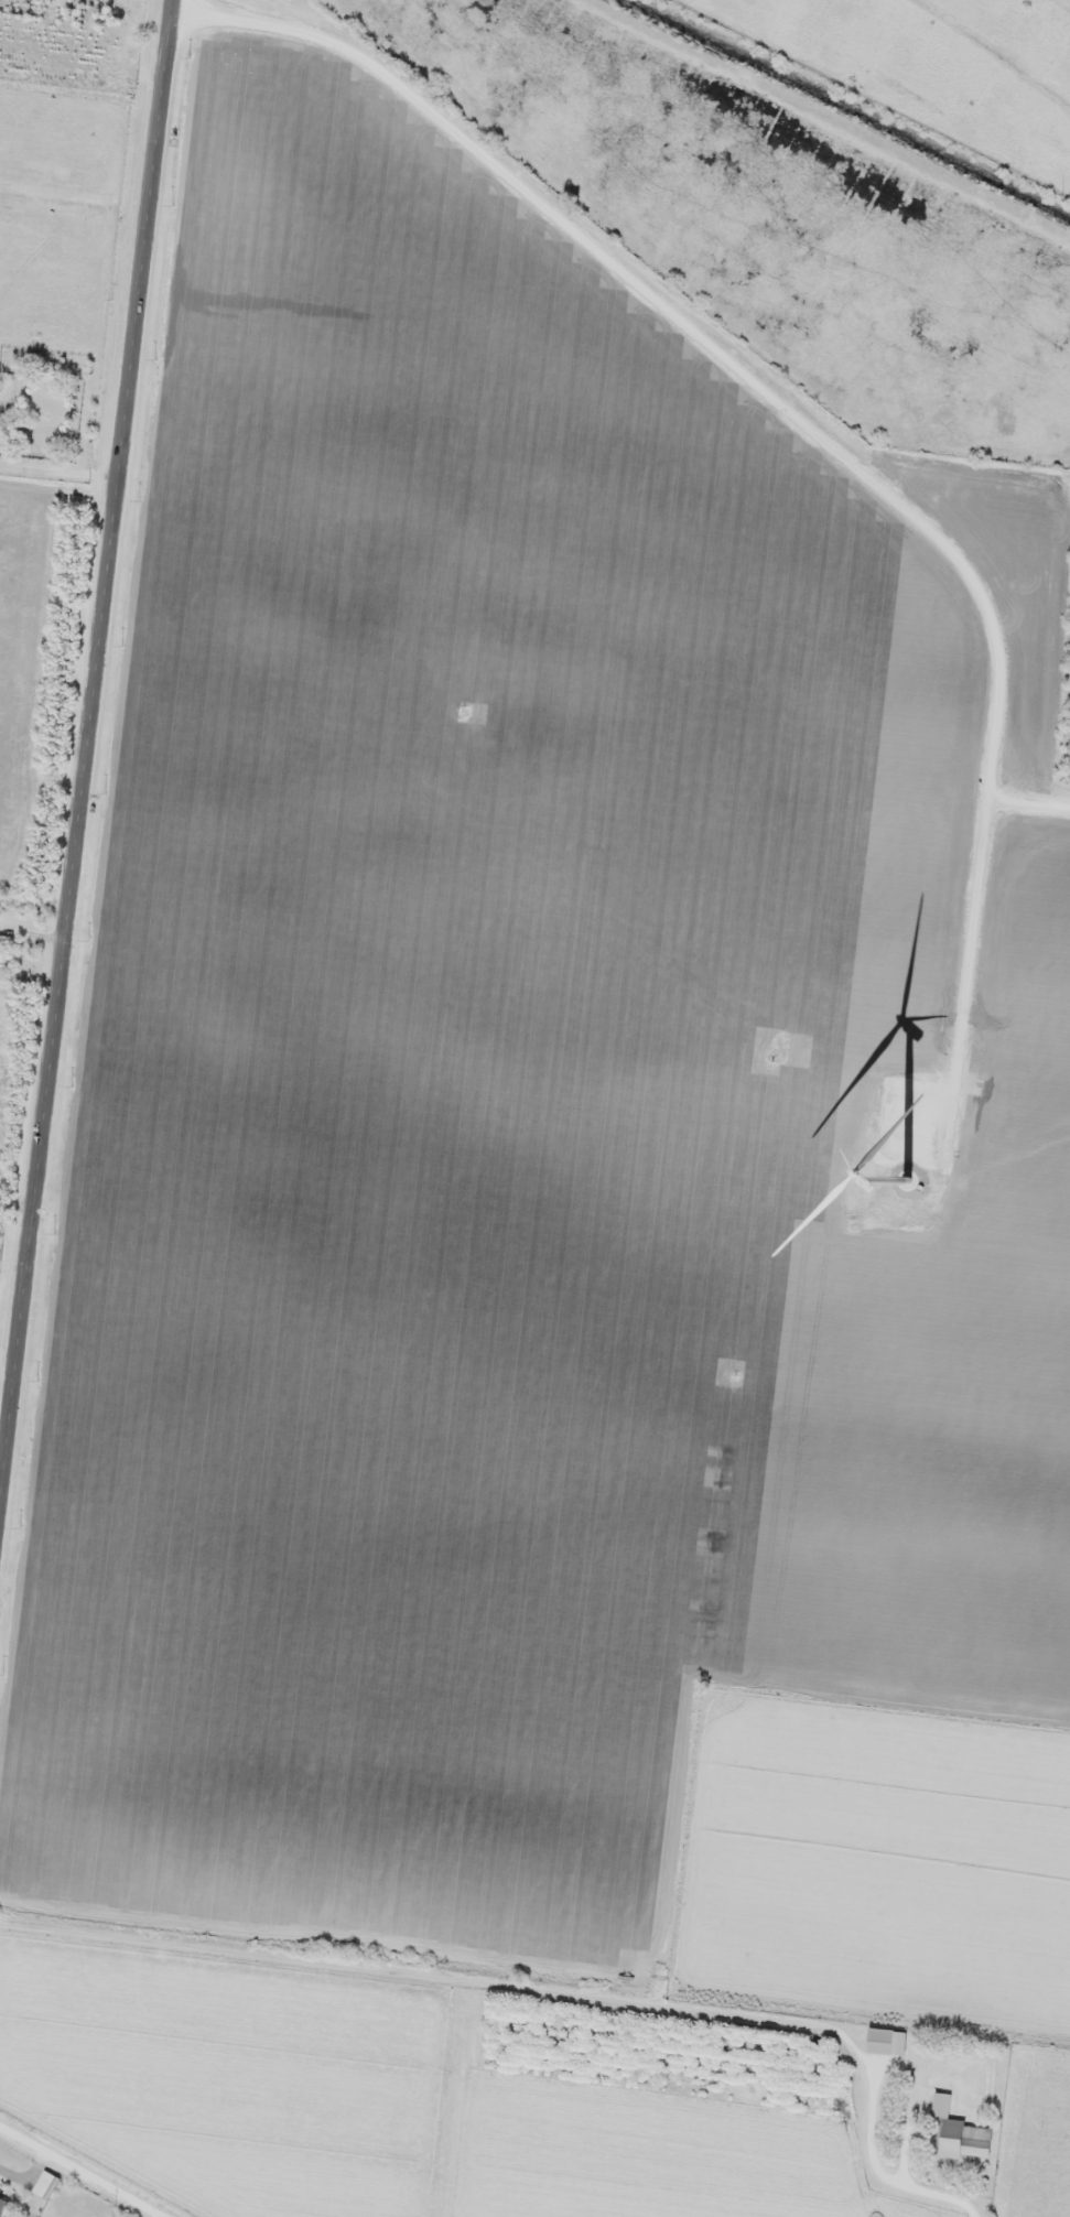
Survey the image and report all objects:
road: (86, 755)
wind turbine: (906, 1176)
building: (959, 2134)
road: (880, 2159)
road: (79, 2173)
building: (45, 2185)
building: (2, 2206)

